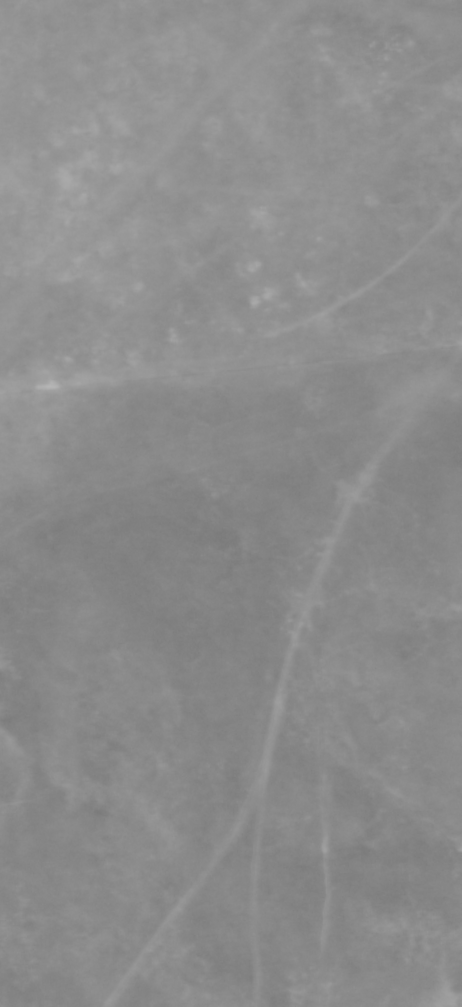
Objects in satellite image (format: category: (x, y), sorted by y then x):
airport runway: (406, 15)
airport runway: (148, 161)

